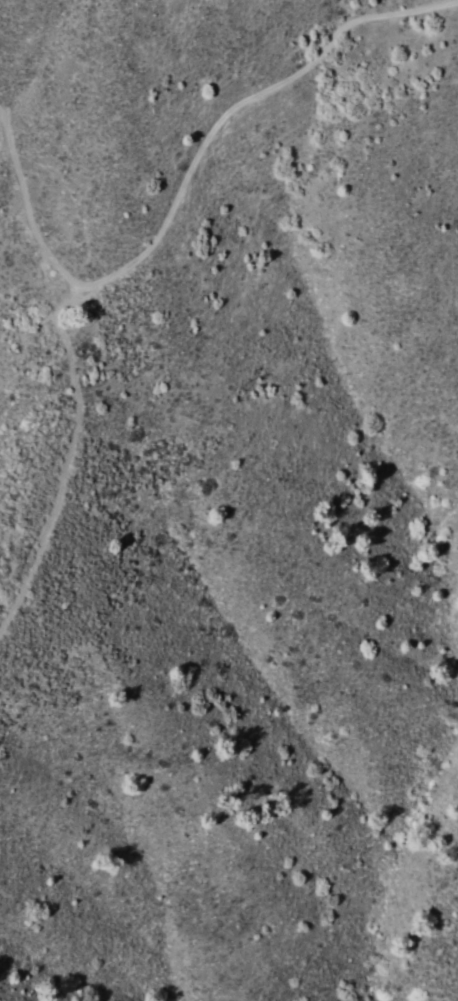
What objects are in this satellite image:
road: (187, 179)

